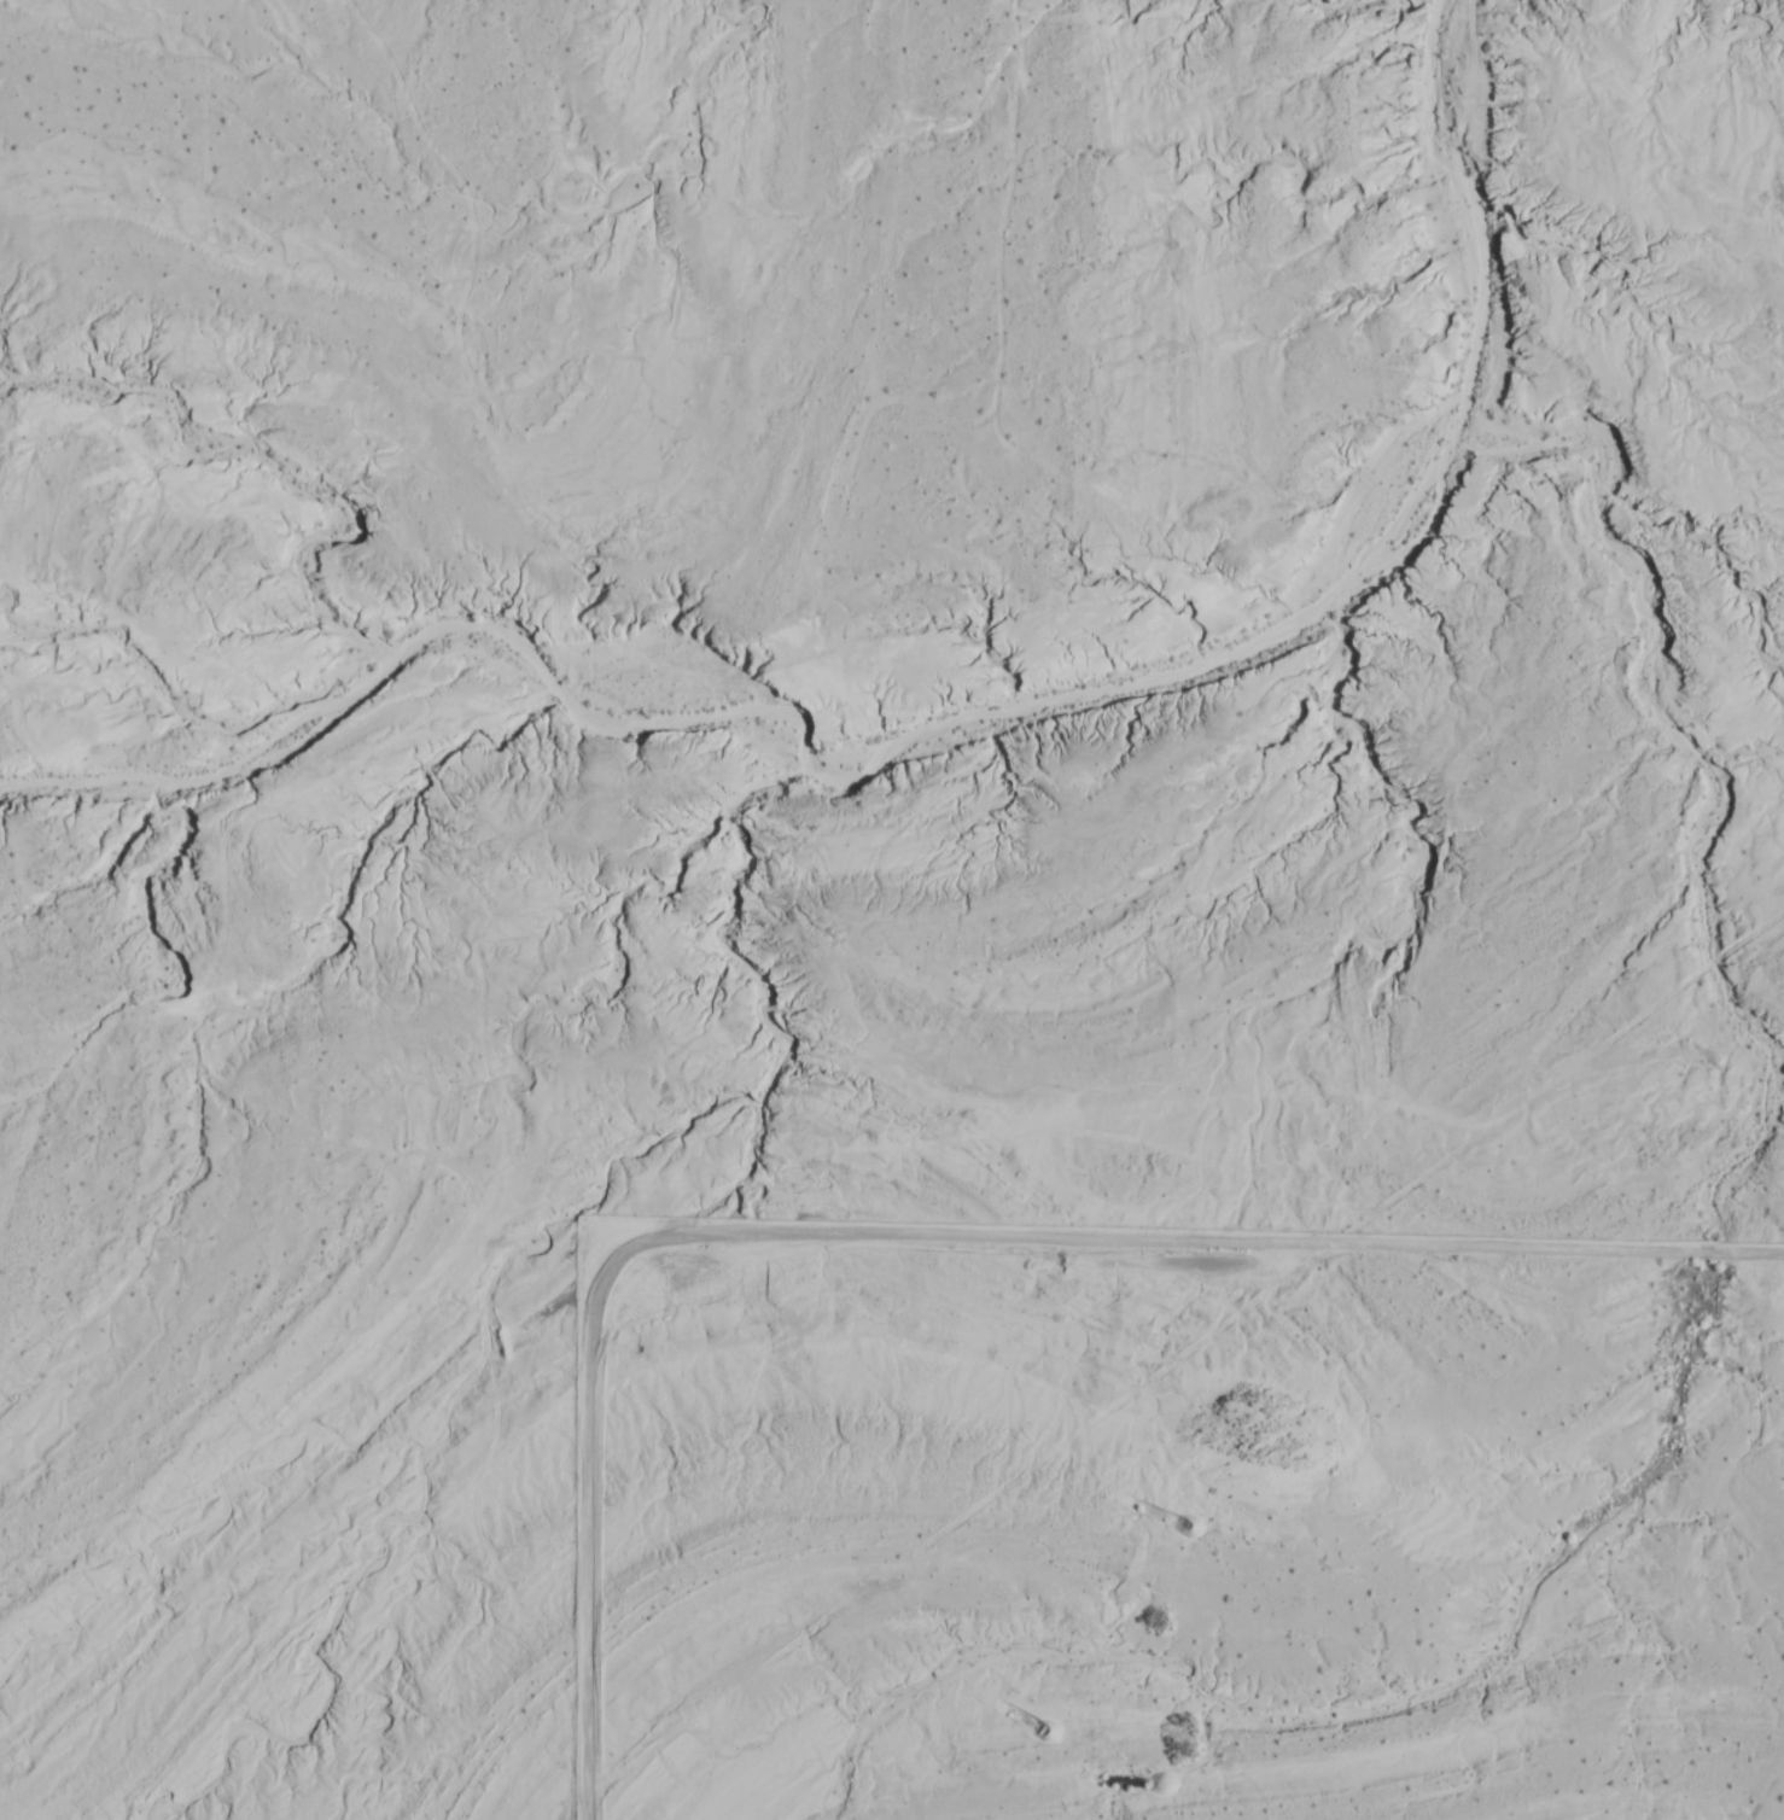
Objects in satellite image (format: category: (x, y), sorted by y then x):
landfill: (1642, 1534)

